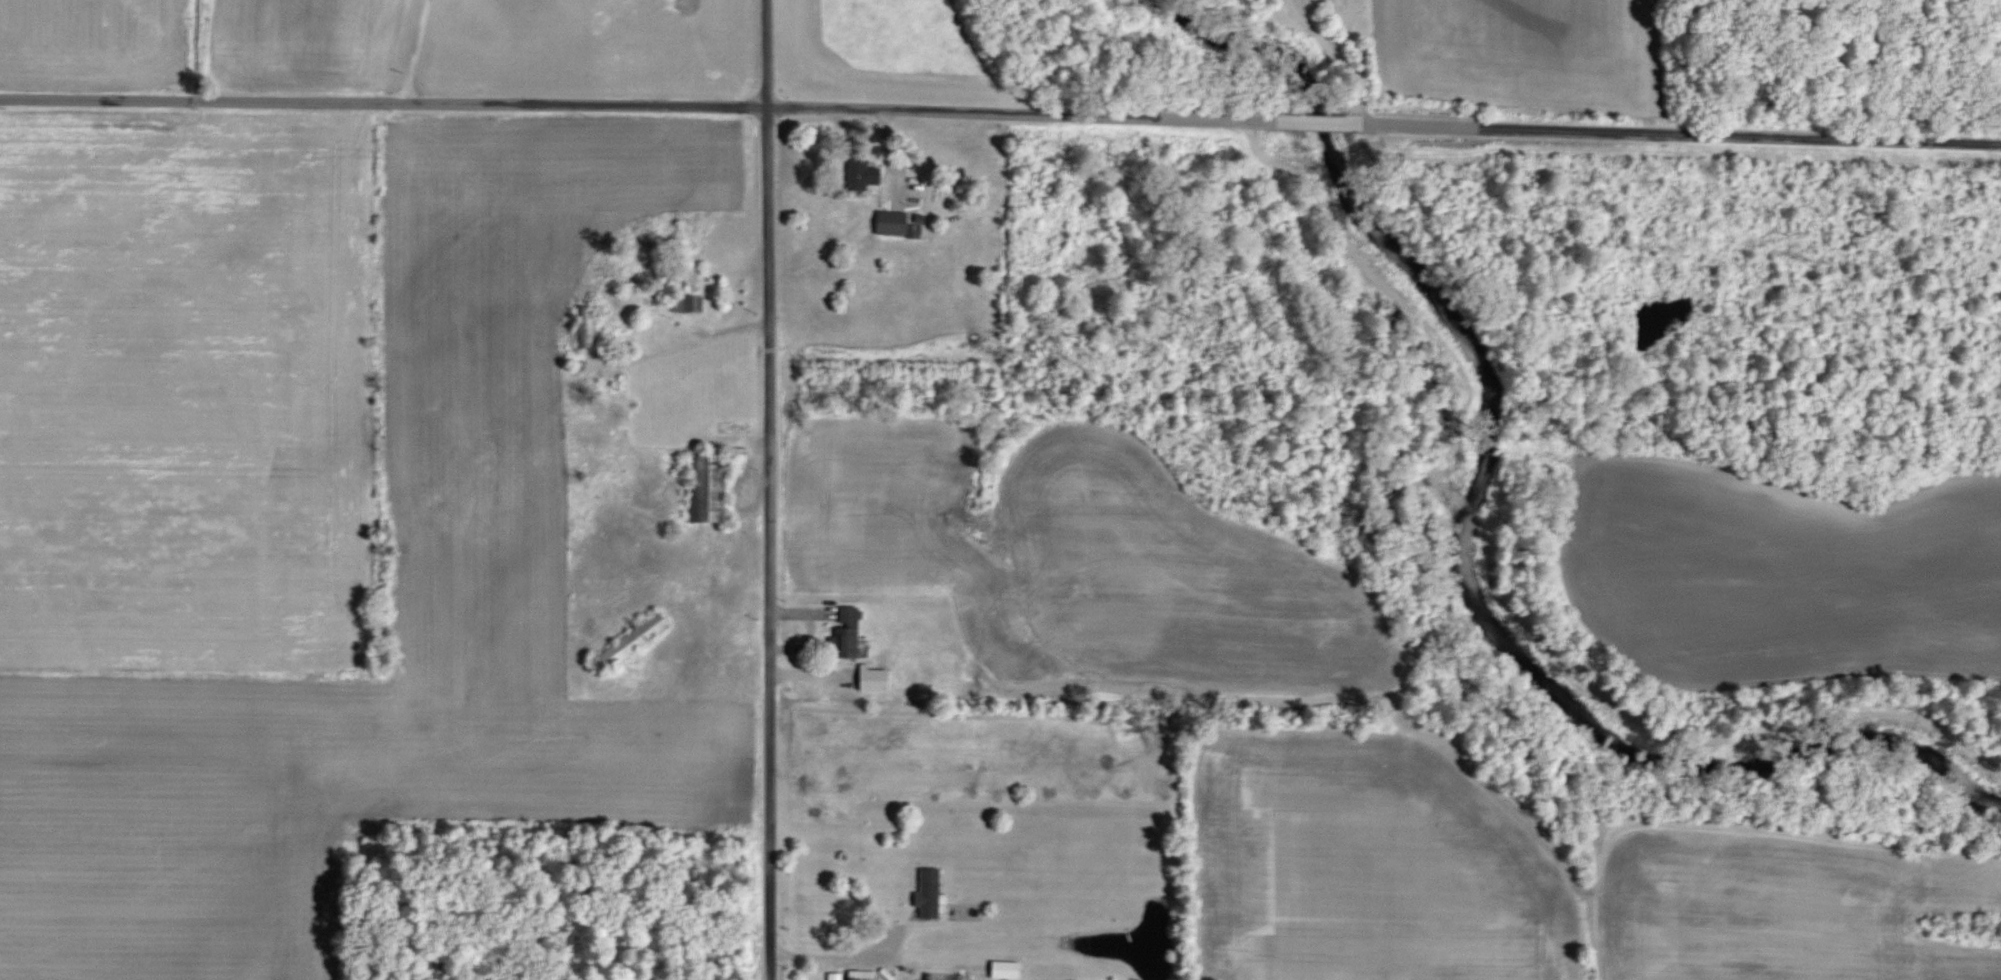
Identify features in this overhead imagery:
road: (406, 50)
road: (1339, 54)
road: (1000, 115)
building: (857, 174)
building: (895, 224)
building: (686, 303)
building: (586, 326)
road: (690, 345)
building: (707, 488)
road: (764, 489)
building: (847, 632)
building: (632, 641)
building: (929, 892)
road: (841, 955)
building: (1004, 969)
building: (862, 974)

